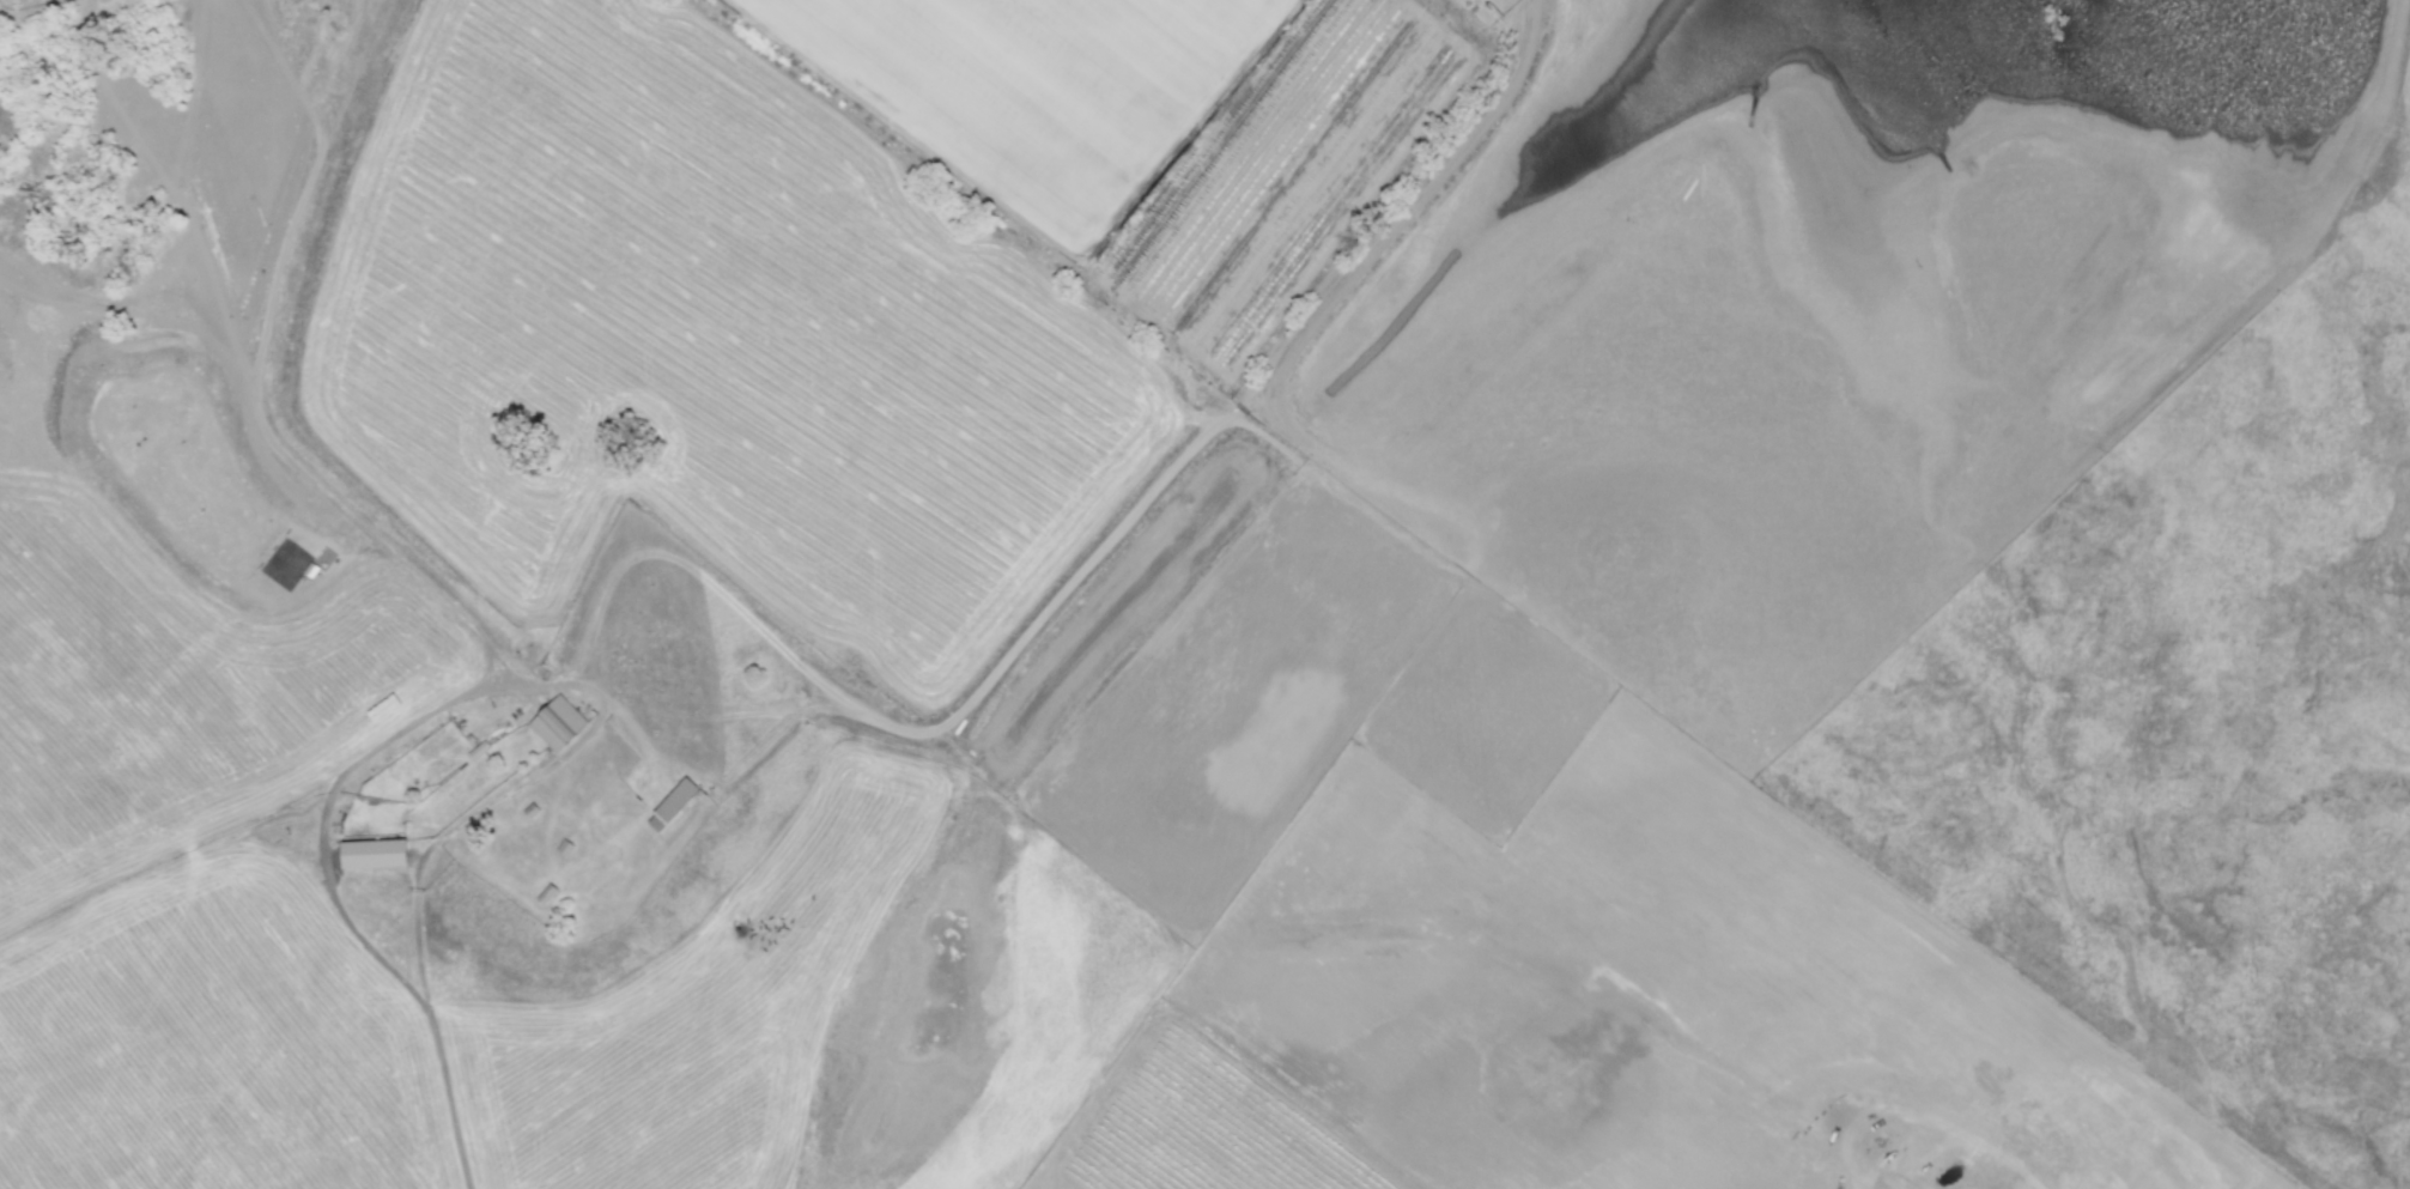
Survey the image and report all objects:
building: (556, 723)
building: (670, 805)
building: (372, 855)

